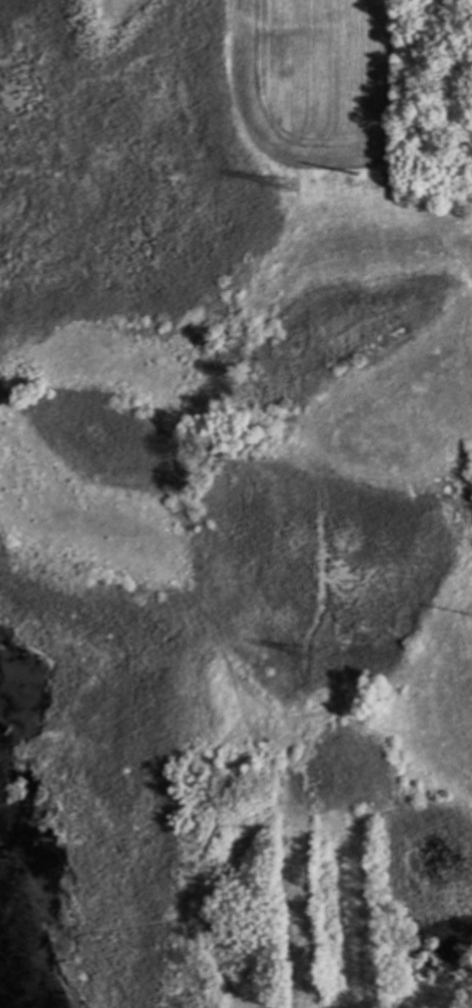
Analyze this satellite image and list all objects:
crop: (310, 77)
power tower: (289, 185)
crop: (415, 588)
power tower: (318, 658)
pier: (129, 927)

